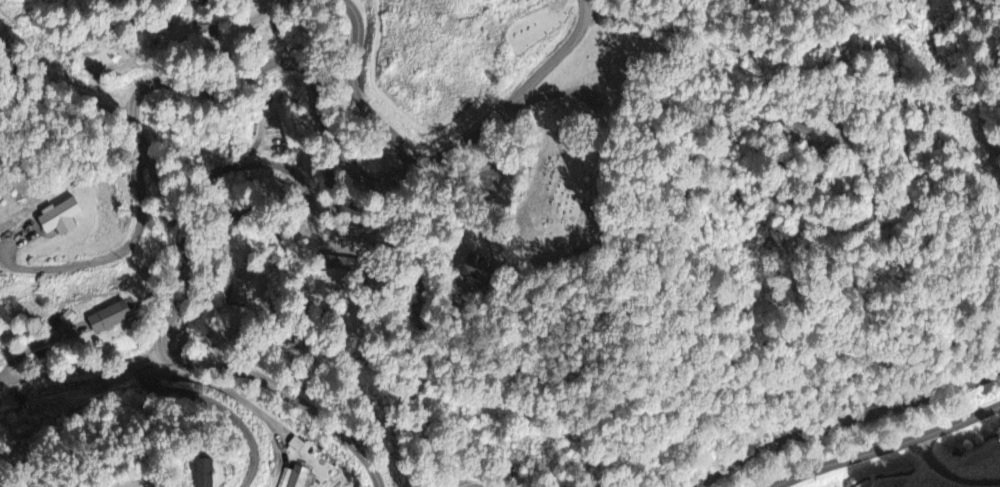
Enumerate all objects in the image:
park: (528, 30)
road: (355, 88)
road: (513, 100)
park: (569, 152)
road: (855, 156)
road: (155, 176)
building: (57, 220)
building: (474, 269)
building: (237, 294)
building: (107, 320)
road: (843, 420)
road: (891, 446)
building: (202, 474)
road: (948, 478)
building: (296, 479)
road: (479, 486)

